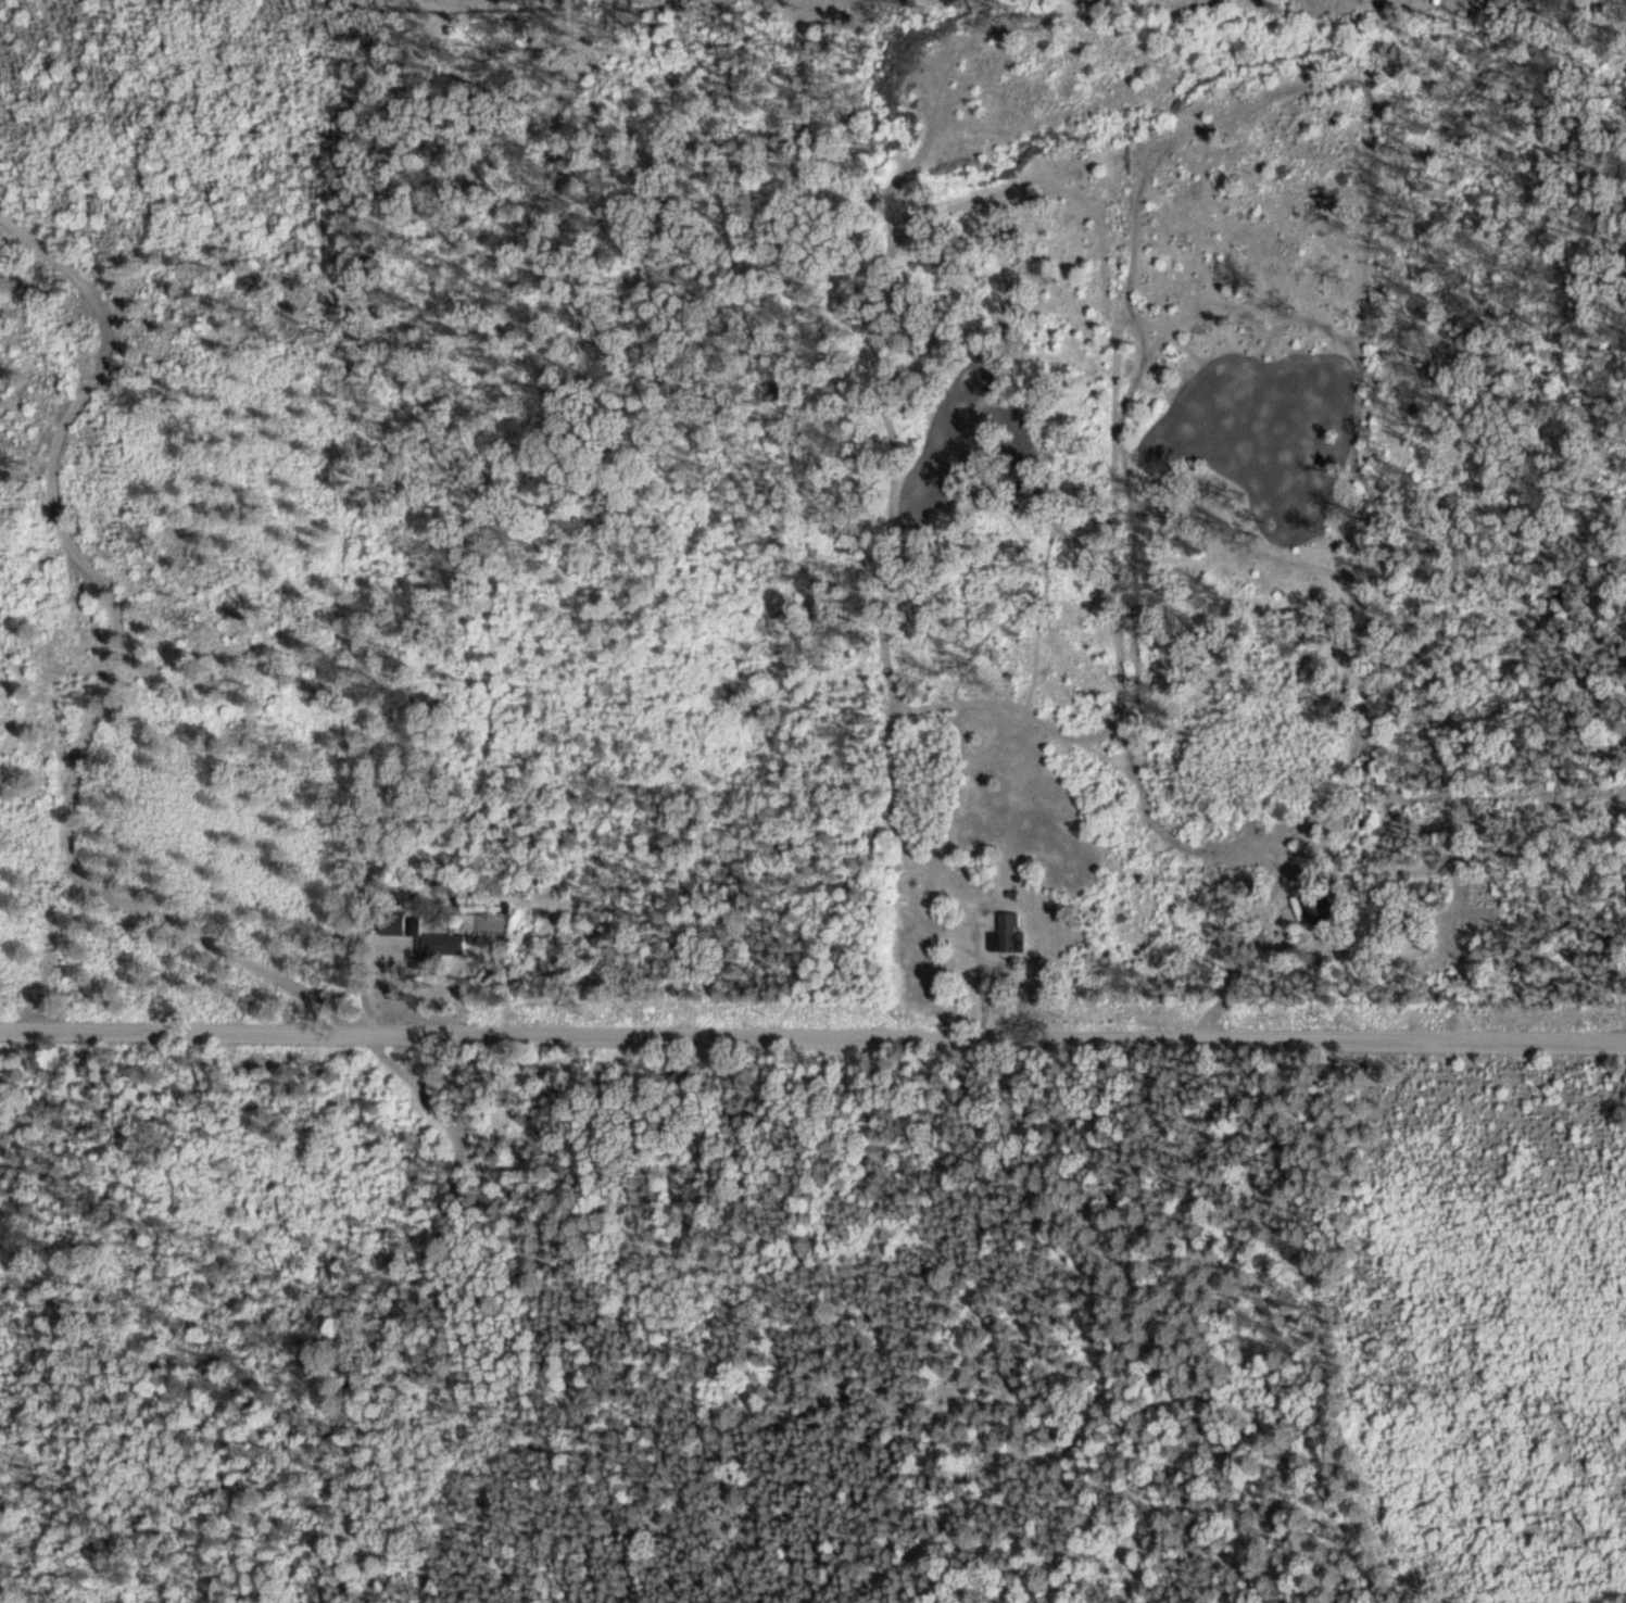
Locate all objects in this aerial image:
road: (92, 636)
building: (1308, 909)
building: (389, 924)
building: (1004, 933)
building: (437, 946)
road: (812, 1036)
road: (406, 1321)

